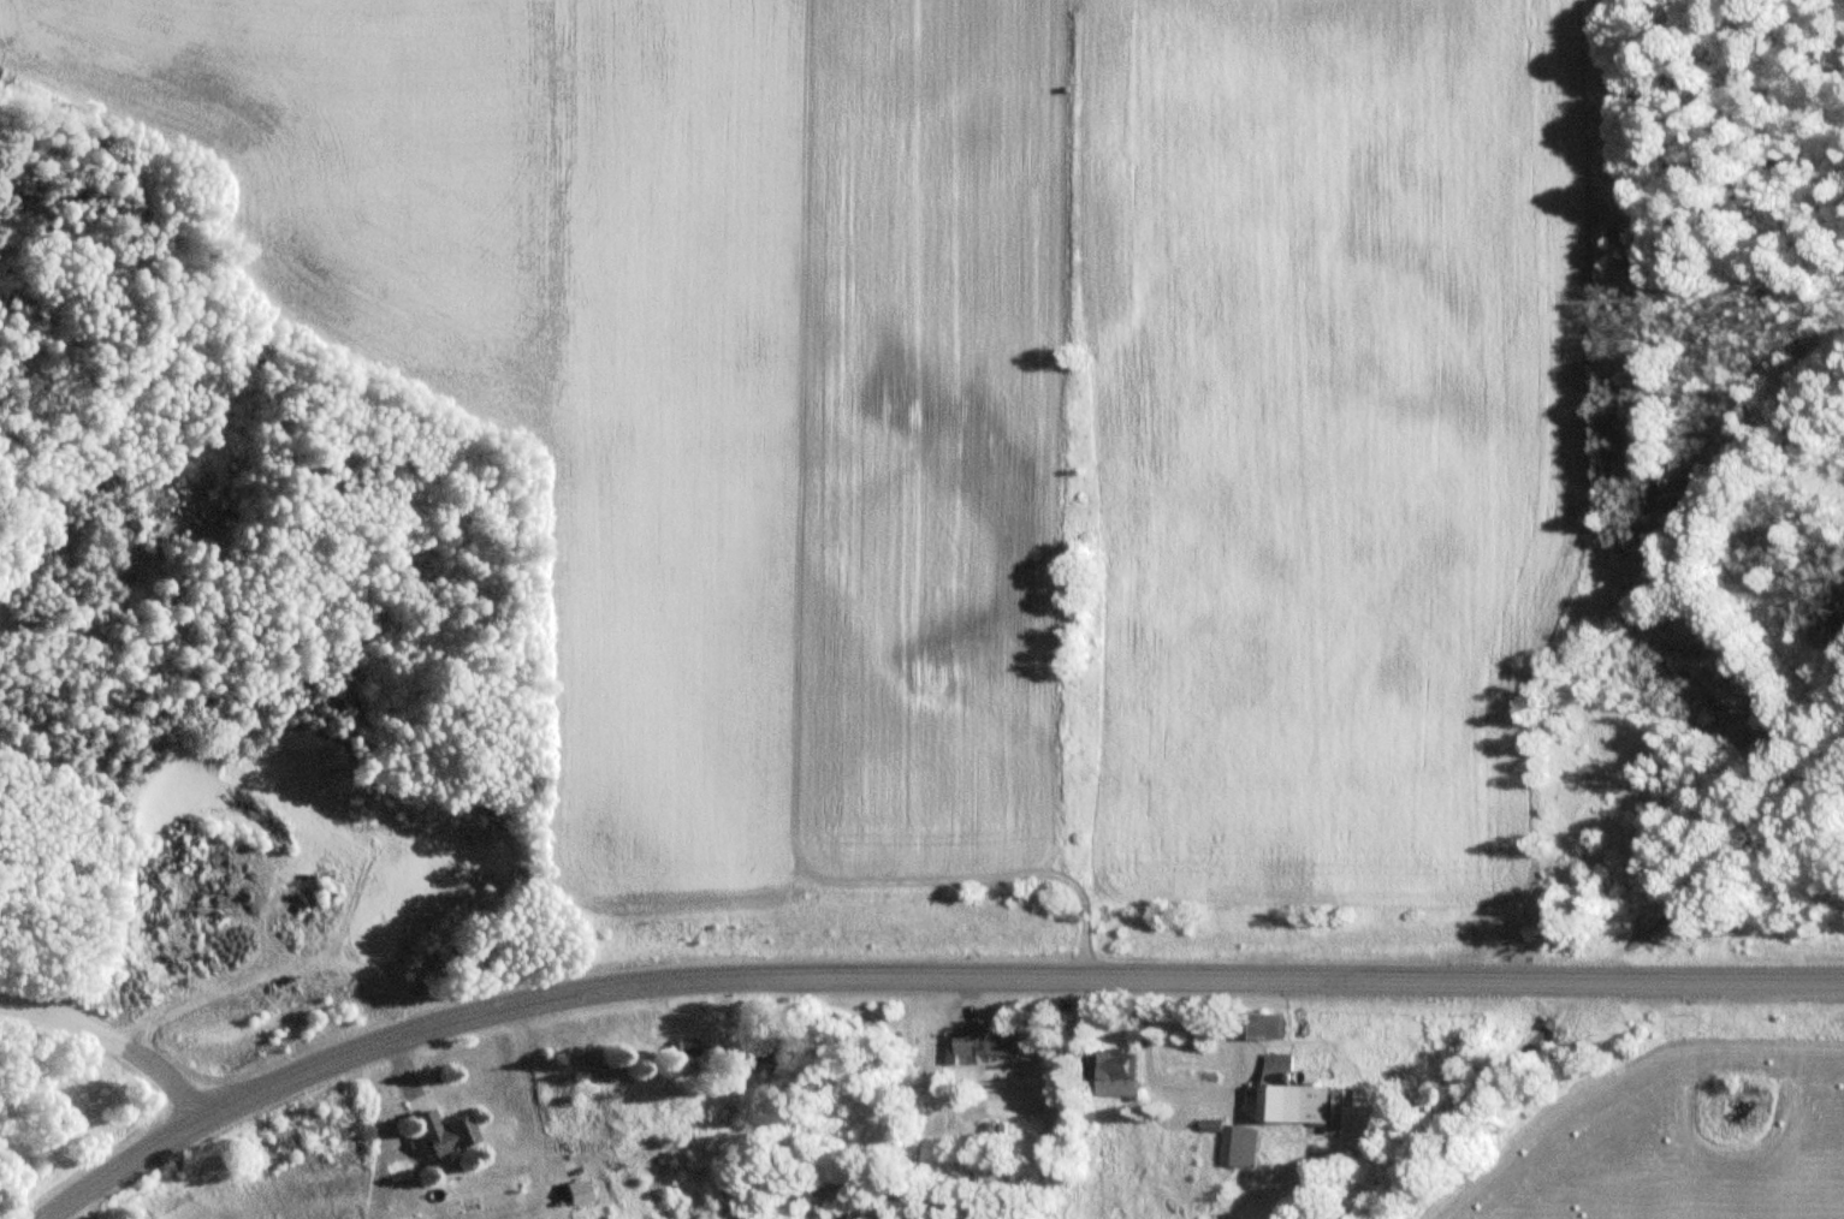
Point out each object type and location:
road: (1742, 845)
road: (1009, 976)
building: (1270, 1024)
road: (112, 1037)
building: (998, 1045)
building: (687, 1047)
building: (763, 1058)
building: (1125, 1071)
building: (1295, 1093)
road: (1448, 1123)
building: (449, 1134)
building: (1243, 1144)
road: (117, 1165)

